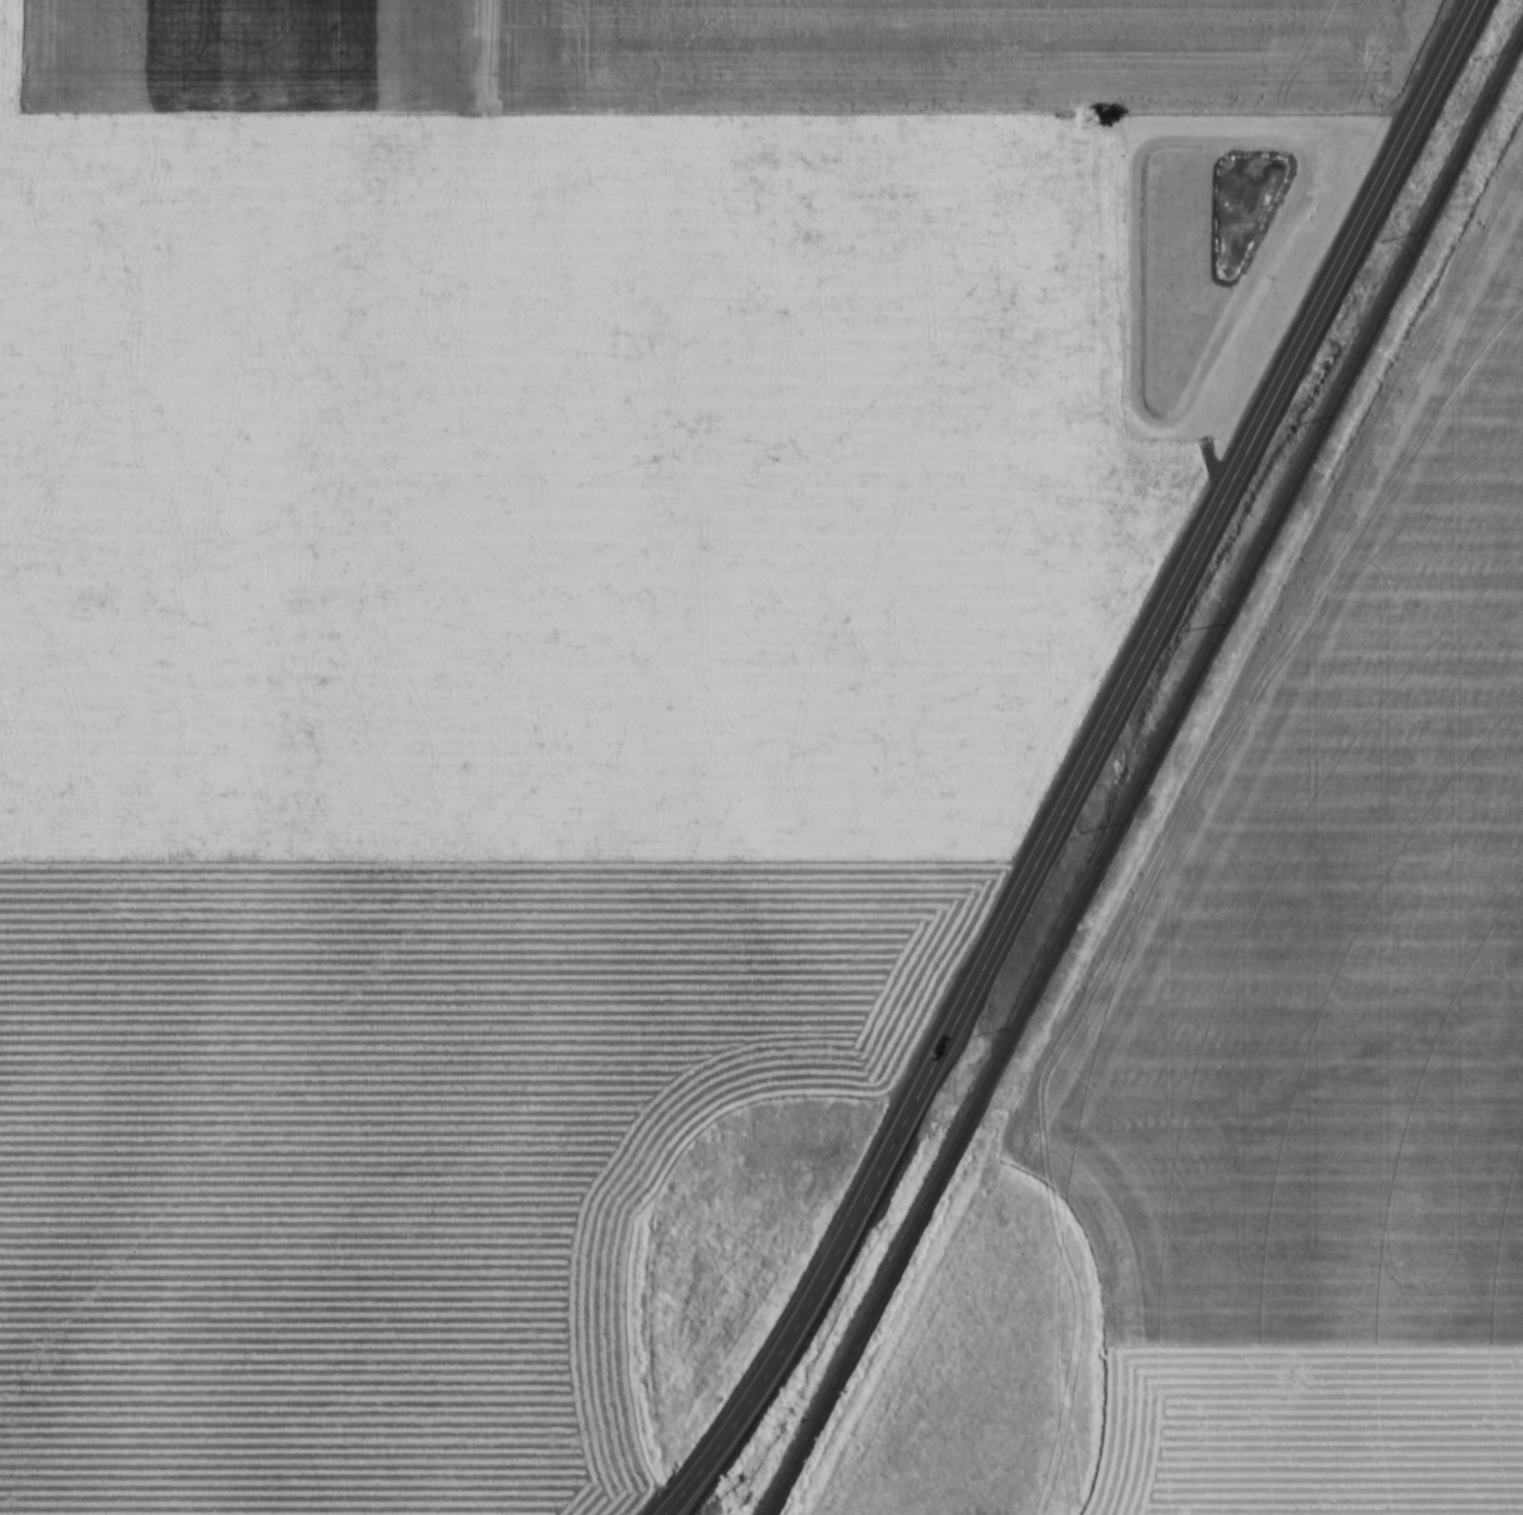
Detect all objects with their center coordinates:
road: (1085, 767)
railway: (1141, 772)
crop: (392, 1151)
crop: (1307, 1430)

